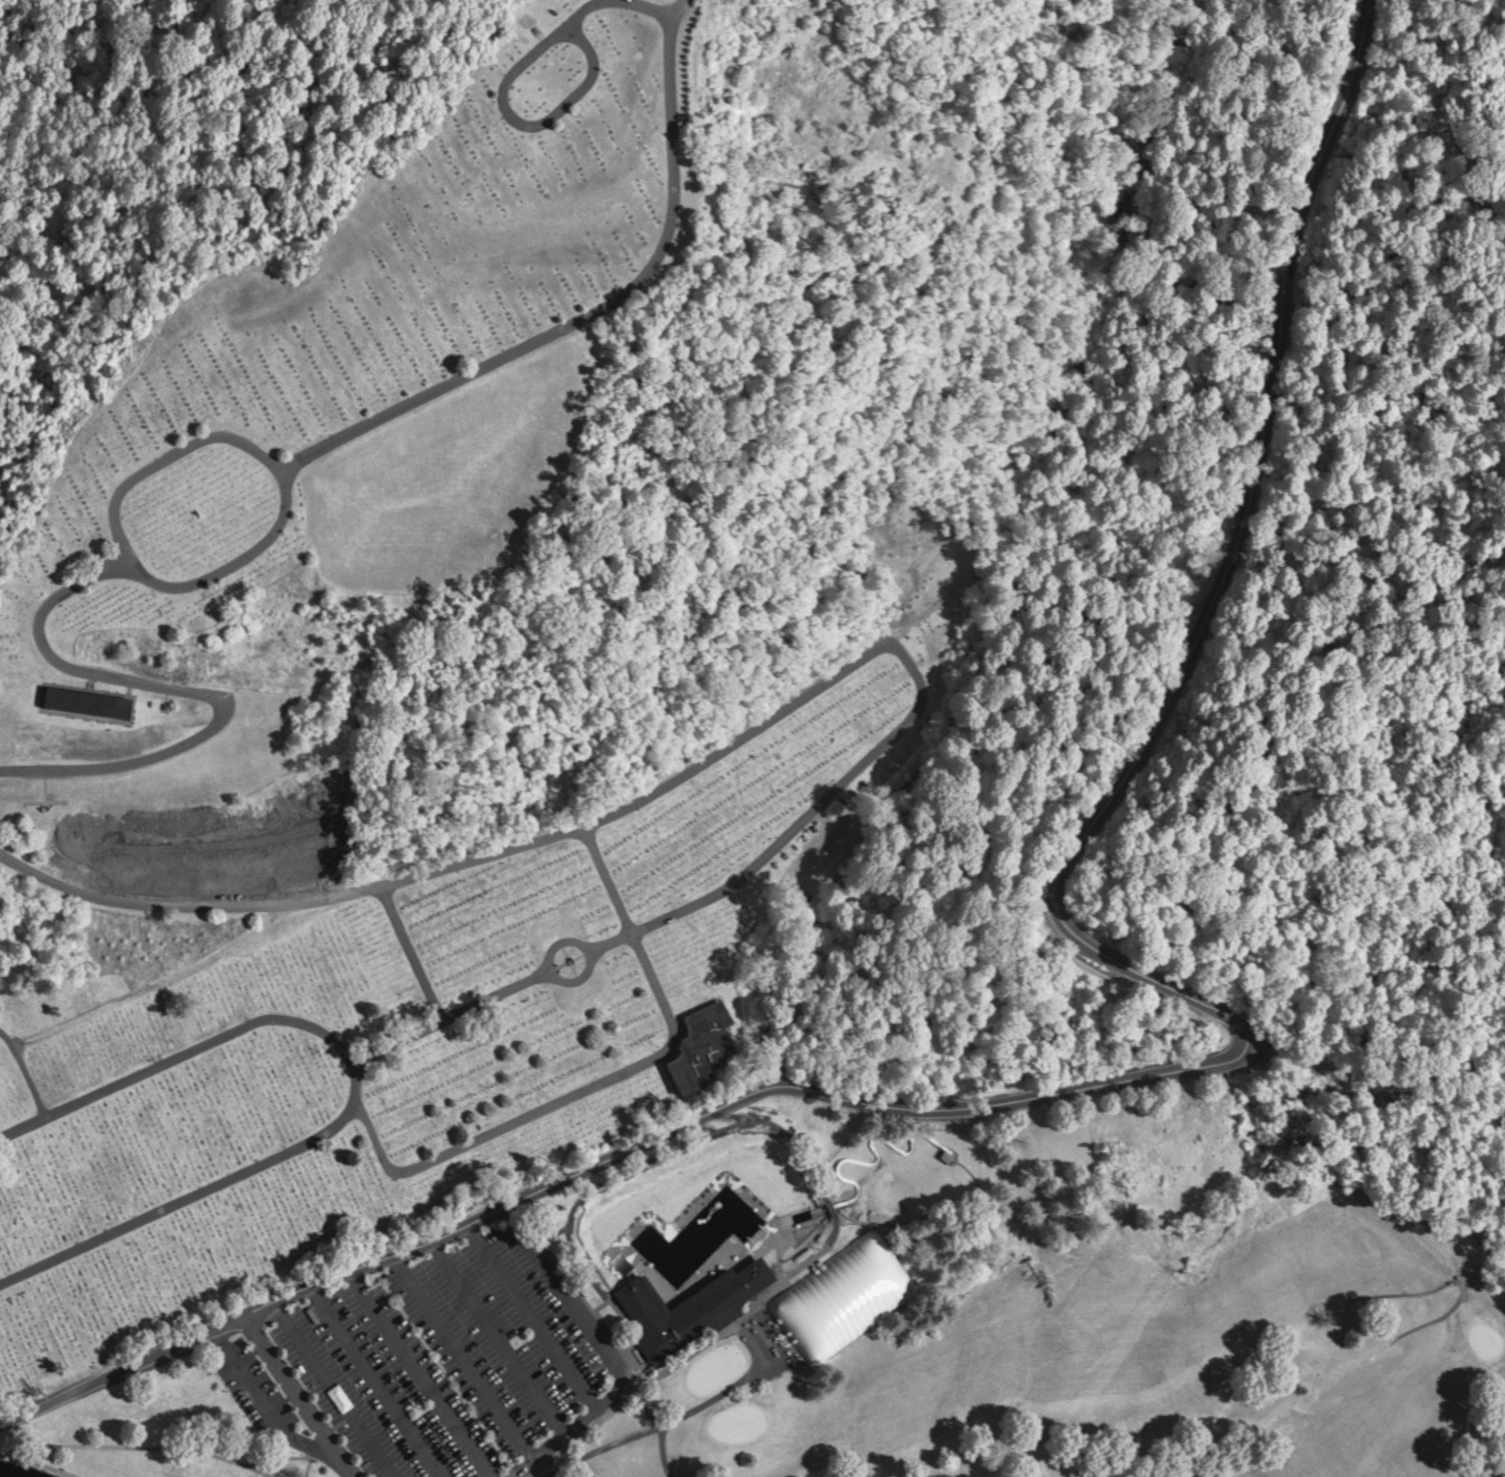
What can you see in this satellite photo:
road: (1216, 581)
park: (220, 654)
building: (93, 701)
building: (707, 1045)
road: (735, 1099)
building: (842, 1295)
park: (586, 1298)
building: (691, 1308)
road: (536, 1315)
road: (498, 1336)
park: (1132, 1349)
road: (464, 1354)
road: (609, 1358)
parking lot: (446, 1360)
road: (124, 1367)
road: (422, 1372)
road: (379, 1380)
road: (334, 1388)
road: (299, 1394)
road: (263, 1400)

